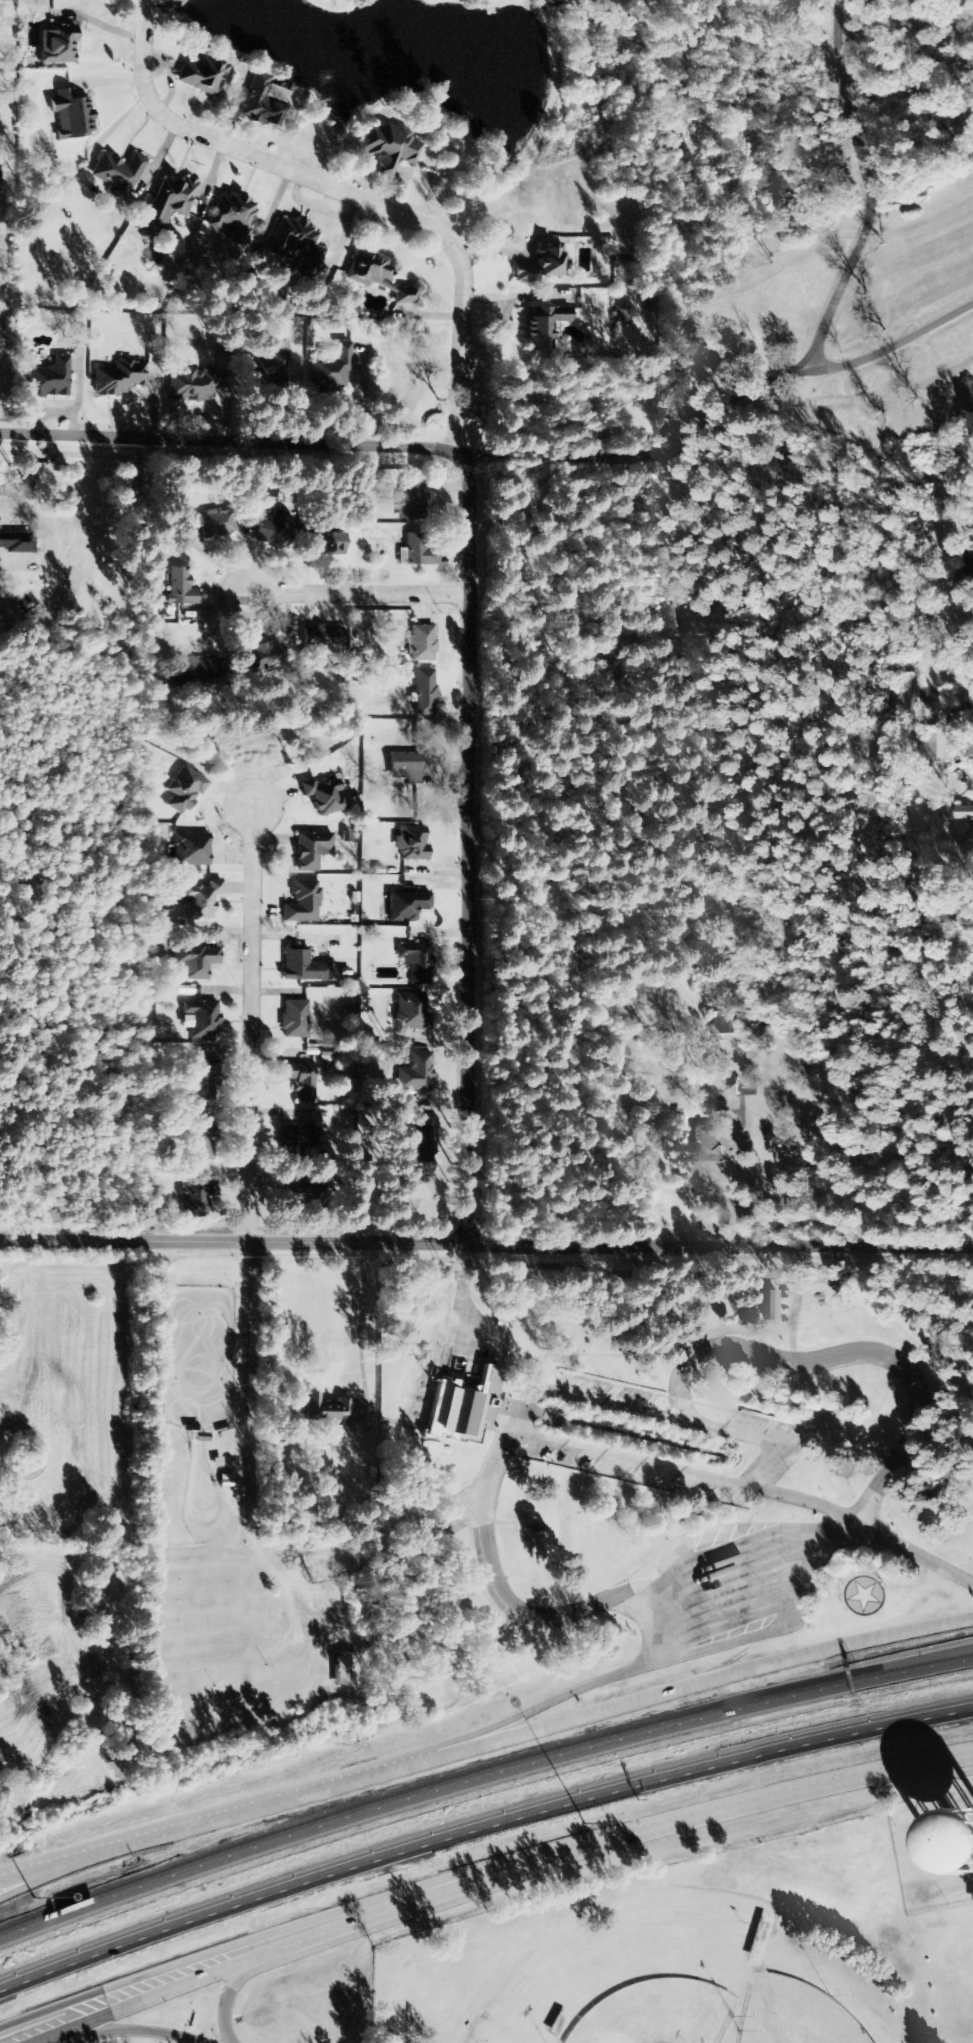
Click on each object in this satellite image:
building: (57, 45)
building: (201, 74)
building: (262, 101)
building: (71, 115)
building: (387, 147)
building: (117, 174)
road: (863, 188)
road: (343, 194)
building: (169, 204)
building: (234, 217)
building: (298, 245)
building: (541, 265)
building: (367, 268)
building: (404, 295)
building: (544, 326)
building: (331, 370)
building: (271, 372)
building: (119, 378)
building: (49, 379)
building: (194, 384)
road: (720, 404)
road: (231, 441)
building: (412, 501)
building: (215, 523)
building: (270, 529)
building: (17, 543)
building: (329, 544)
building: (419, 550)
building: (180, 588)
road: (352, 594)
building: (322, 641)
building: (421, 643)
building: (263, 657)
building: (185, 678)
building: (424, 693)
building: (940, 746)
building: (405, 767)
building: (184, 790)
building: (324, 796)
building: (964, 812)
building: (411, 843)
road: (463, 847)
building: (192, 850)
building: (311, 850)
building: (203, 900)
building: (303, 903)
building: (406, 906)
building: (199, 962)
building: (417, 962)
building: (303, 966)
building: (409, 1011)
building: (203, 1020)
building: (295, 1020)
road: (245, 1024)
building: (416, 1073)
building: (204, 1081)
building: (301, 1081)
building: (735, 1091)
building: (294, 1139)
building: (206, 1141)
building: (416, 1146)
building: (707, 1148)
building: (292, 1195)
building: (198, 1198)
road: (230, 1242)
road: (717, 1244)
building: (769, 1305)
road: (852, 1354)
building: (745, 1397)
building: (462, 1407)
building: (325, 1409)
road: (663, 1414)
building: (823, 1415)
parking lot: (781, 1438)
road: (687, 1471)
building: (225, 1481)
building: (609, 1496)
building: (526, 1527)
road: (916, 1552)
flagpole: (857, 1571)
flagpole: (873, 1573)
flagpole: (844, 1579)
parking lot: (738, 1581)
road: (846, 1582)
flagpole: (884, 1584)
flagpole: (839, 1593)
flagpole: (844, 1608)
road: (529, 1610)
road: (788, 1622)
building: (345, 1669)
road: (544, 1702)
road: (485, 1740)
road: (480, 1775)
road: (480, 1822)
street lamp: (584, 1826)
road: (630, 1831)
water tower: (972, 1843)
building: (949, 1844)
road: (79, 1862)
park: (657, 1962)
road: (146, 1979)
road: (161, 1987)
road: (229, 1993)
park: (658, 2013)
park: (795, 2014)
road: (135, 2030)

